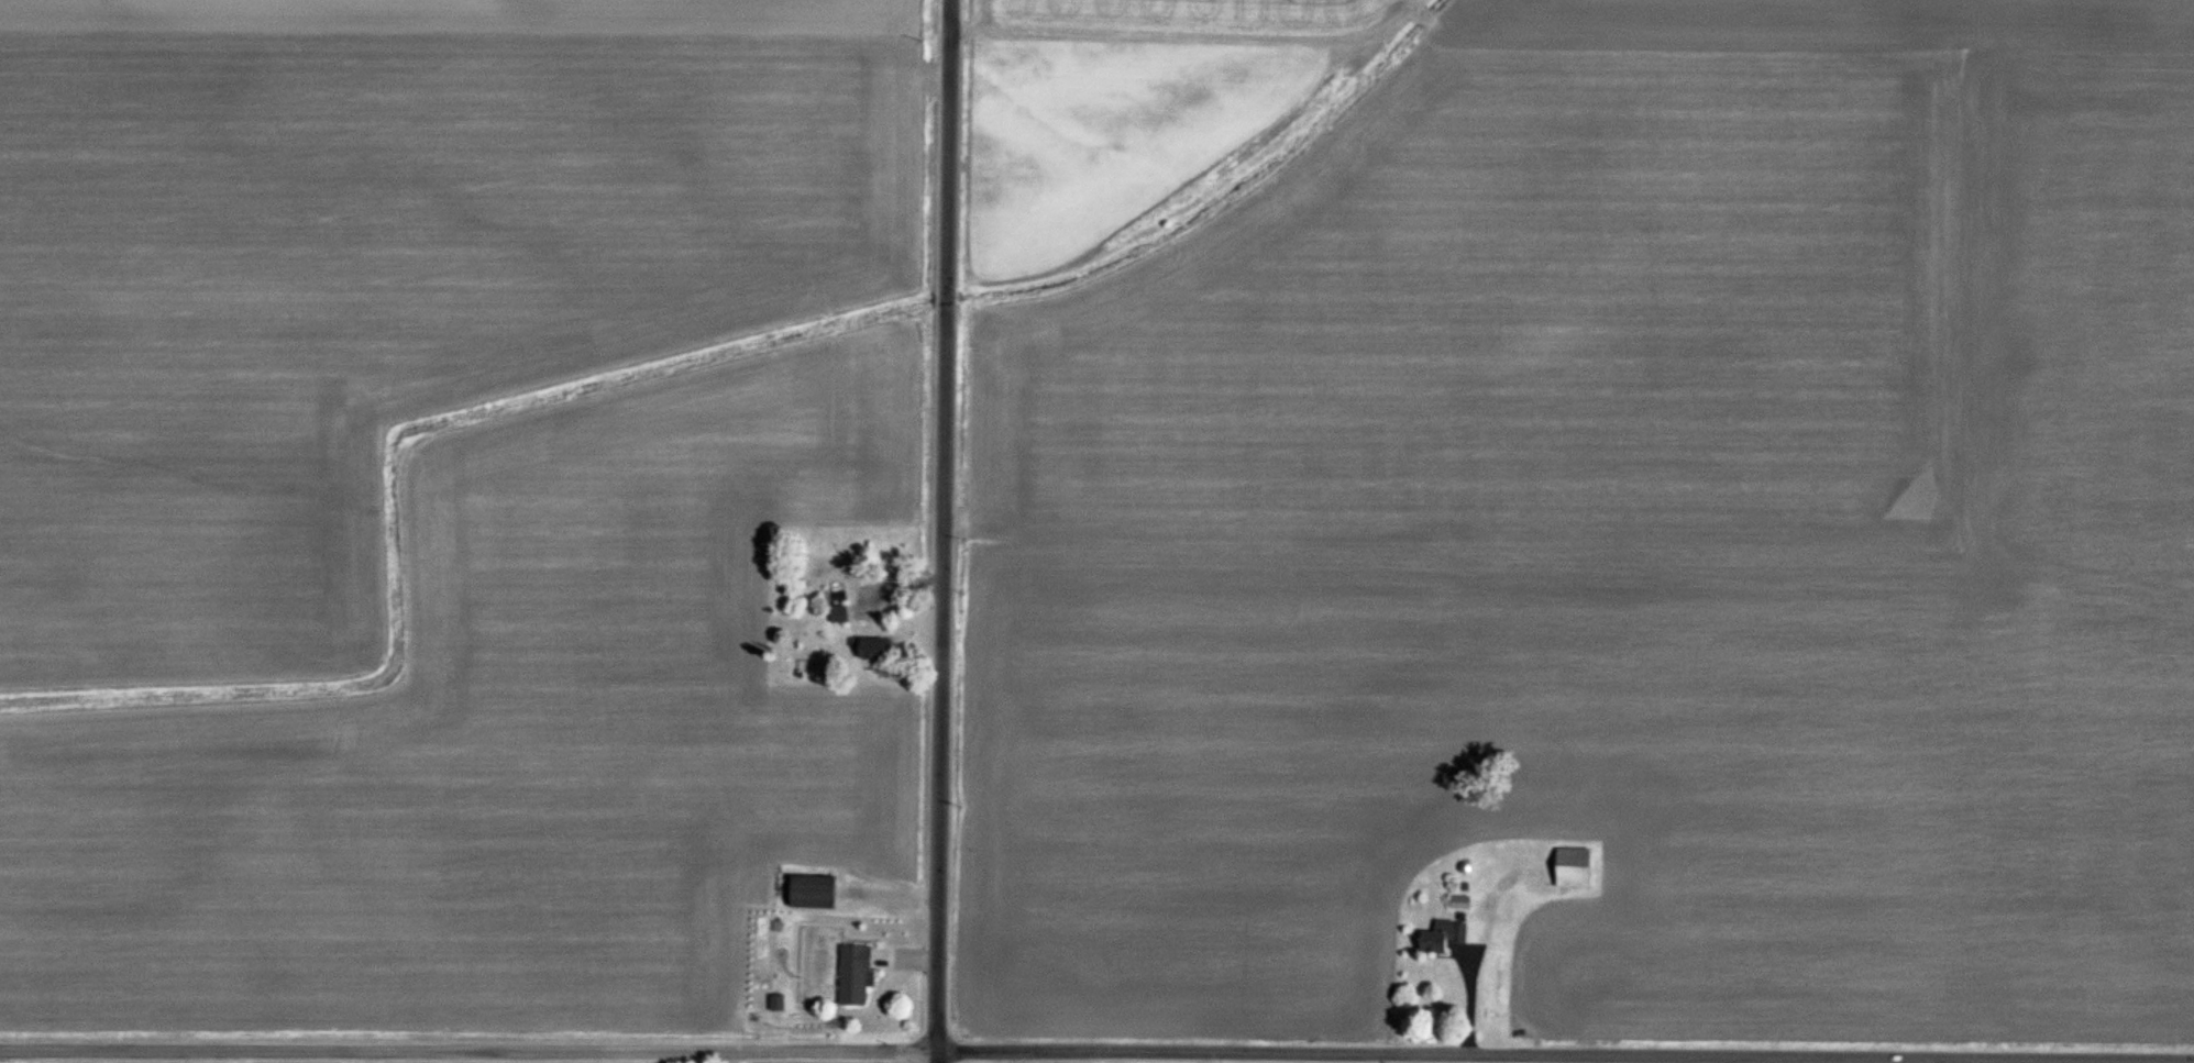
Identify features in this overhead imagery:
road: (942, 525)
building: (840, 614)
building: (873, 650)
building: (1575, 868)
building: (814, 893)
building: (1445, 937)
building: (856, 976)
road: (470, 1051)
road: (1567, 1054)
road: (734, 1058)
road: (940, 1058)

